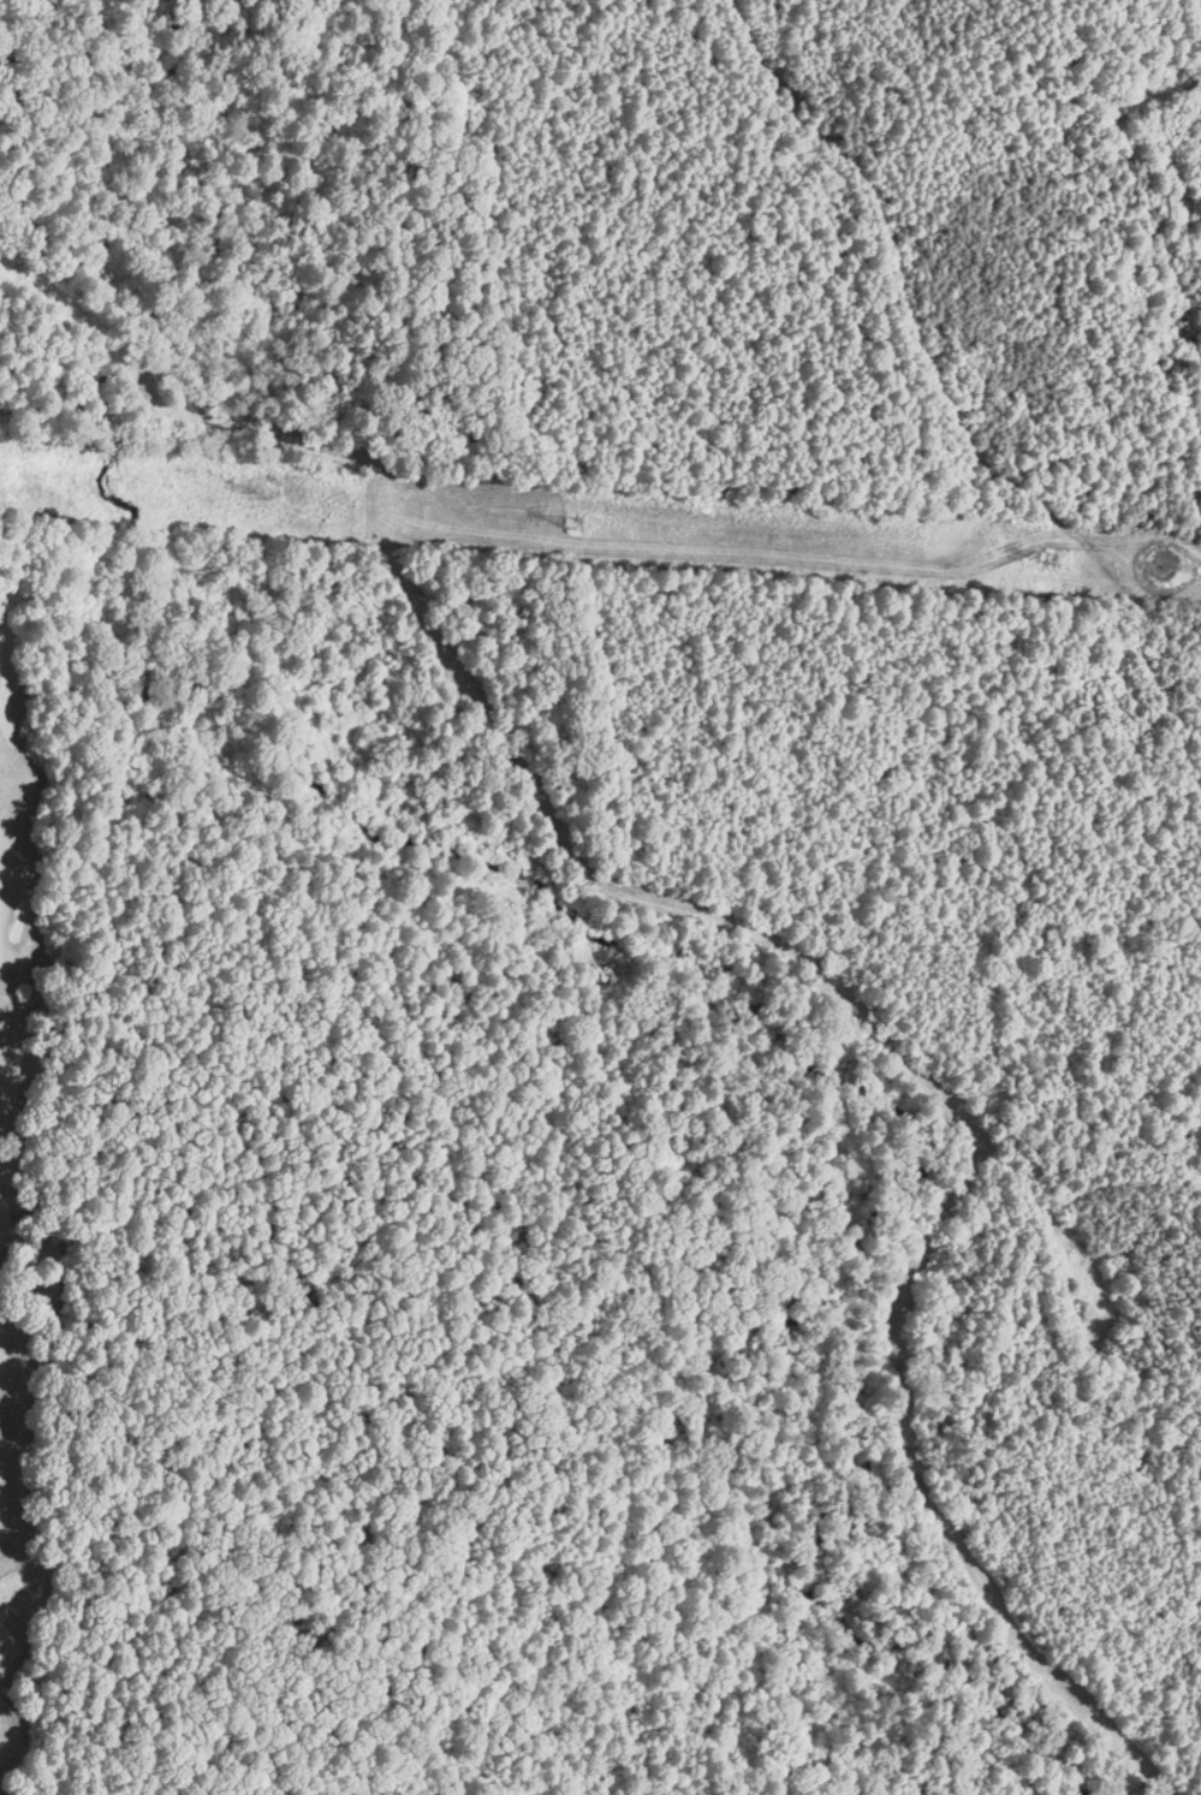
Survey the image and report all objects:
power tower: (572, 529)
power tower: (1051, 560)
park: (32, 1173)

